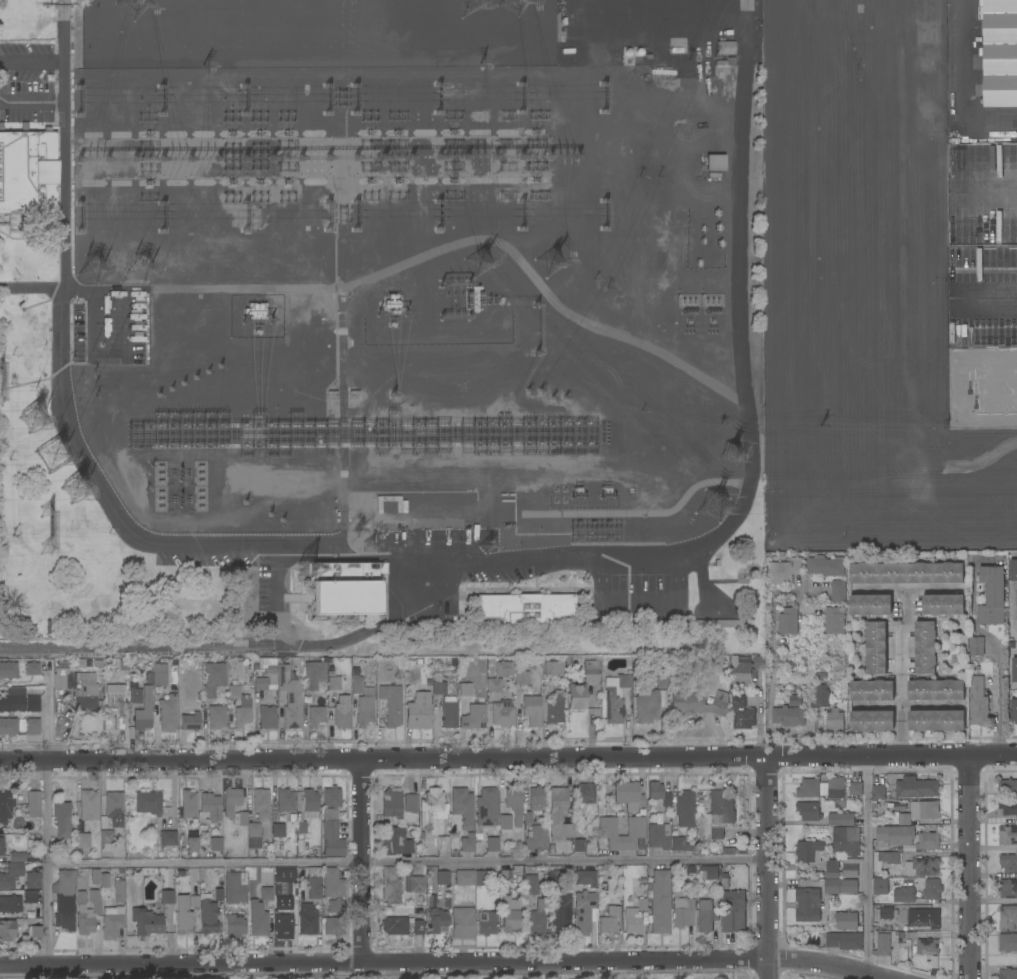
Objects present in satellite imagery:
road: (64, 1)
power tower: (132, 1)
power tower: (467, 1)
building: (850, 1)
building: (97, 17)
building: (269, 25)
building: (346, 29)
building: (521, 39)
building: (88, 41)
building: (846, 44)
building: (725, 47)
building: (1000, 53)
building: (723, 60)
building: (328, 62)
building: (873, 71)
building: (662, 72)
road: (64, 80)
building: (1000, 156)
building: (715, 163)
building: (27, 171)
road: (65, 224)
building: (1015, 230)
power tower: (479, 256)
power tower: (552, 260)
power tower: (94, 264)
power tower: (139, 264)
building: (474, 299)
building: (255, 311)
power substation: (377, 325)
power tower: (222, 365)
building: (1016, 369)
power tower: (209, 372)
power tower: (196, 379)
power tower: (183, 385)
power tower: (173, 391)
power tower: (159, 395)
power tower: (38, 425)
power tower: (730, 449)
power tower: (59, 457)
power tower: (152, 465)
power tower: (148, 489)
power tower: (79, 491)
power tower: (712, 502)
power tower: (246, 503)
power tower: (270, 511)
power tower: (358, 530)
power tower: (48, 532)
power tower: (372, 545)
power tower: (486, 546)
building: (825, 566)
building: (1013, 570)
building: (784, 571)
building: (910, 572)
building: (346, 588)
building: (838, 590)
building: (992, 596)
building: (942, 604)
building: (870, 605)
building: (525, 608)
road: (1013, 611)
building: (834, 620)
building: (788, 621)
building: (718, 623)
building: (976, 646)
building: (925, 647)
building: (875, 648)
road: (996, 653)
road: (771, 655)
building: (250, 659)
building: (86, 660)
building: (478, 660)
building: (331, 661)
building: (419, 661)
building: (454, 661)
building: (491, 661)
building: (97, 664)
building: (441, 664)
building: (123, 665)
building: (553, 666)
building: (247, 667)
building: (503, 668)
building: (32, 669)
building: (746, 669)
building: (1014, 669)
building: (8, 670)
building: (591, 671)
building: (331, 672)
building: (271, 673)
road: (899, 673)
building: (158, 674)
building: (313, 674)
building: (481, 674)
building: (131, 676)
building: (385, 677)
building: (521, 677)
building: (213, 678)
building: (249, 679)
building: (661, 681)
building: (334, 683)
building: (131, 684)
building: (260, 684)
building: (478, 685)
building: (494, 685)
building: (465, 687)
building: (442, 688)
building: (79, 689)
building: (871, 690)
building: (935, 690)
building: (481, 694)
building: (721, 695)
building: (135, 696)
building: (199, 696)
building: (290, 696)
building: (576, 696)
building: (821, 696)
building: (615, 697)
building: (363, 700)
building: (978, 702)
building: (12, 703)
building: (33, 703)
building: (391, 704)
building: (696, 704)
building: (115, 705)
building: (648, 705)
building: (239, 707)
building: (531, 710)
building: (554, 710)
building: (1013, 710)
building: (144, 711)
building: (418, 711)
building: (167, 712)
building: (449, 712)
building: (502, 713)
building: (741, 714)
building: (316, 716)
building: (342, 716)
building: (788, 716)
building: (216, 717)
building: (473, 717)
building: (265, 718)
road: (47, 720)
building: (834, 720)
building: (872, 721)
building: (935, 721)
building: (190, 722)
building: (9, 726)
building: (32, 726)
building: (22, 728)
road: (508, 761)
building: (1007, 787)
building: (916, 788)
building: (808, 789)
building: (856, 789)
building: (823, 790)
building: (836, 791)
building: (877, 794)
building: (583, 795)
building: (628, 795)
building: (658, 795)
building: (537, 798)
building: (285, 800)
building: (310, 800)
building: (391, 802)
building: (514, 802)
building: (699, 802)
building: (148, 803)
building: (410, 803)
building: (33, 804)
building: (188, 804)
building: (89, 805)
building: (210, 806)
building: (462, 806)
building: (5, 807)
building: (486, 807)
building: (1008, 807)
building: (114, 808)
building: (432, 808)
building: (685, 808)
building: (899, 808)
building: (262, 810)
building: (926, 810)
building: (809, 811)
building: (239, 812)
building: (559, 814)
building: (717, 816)
building: (528, 818)
building: (62, 819)
building: (841, 819)
building: (904, 819)
building: (505, 822)
building: (103, 823)
building: (332, 823)
building: (636, 827)
building: (302, 829)
building: (278, 830)
building: (659, 834)
building: (478, 835)
building: (896, 835)
building: (1007, 836)
building: (106, 837)
building: (167, 837)
building: (535, 838)
building: (83, 840)
building: (846, 841)
building: (927, 841)
building: (396, 842)
building: (442, 842)
building: (467, 843)
building: (6, 844)
building: (192, 844)
building: (216, 844)
building: (492, 844)
building: (579, 845)
building: (681, 846)
building: (809, 851)
building: (202, 855)
building: (17, 857)
building: (32, 857)
building: (889, 857)
road: (565, 859)
road: (205, 861)
road: (364, 862)
building: (1008, 863)
road: (46, 865)
road: (867, 867)
building: (922, 867)
building: (850, 868)
road: (765, 869)
building: (832, 869)
road: (970, 869)
building: (130, 872)
building: (180, 872)
building: (708, 872)
building: (11, 874)
building: (285, 874)
building: (506, 876)
building: (464, 877)
building: (99, 878)
building: (442, 878)
building: (481, 878)
building: (584, 878)
building: (32, 879)
building: (555, 880)
building: (65, 882)
building: (333, 882)
building: (313, 883)
building: (392, 883)
building: (415, 884)
building: (531, 885)
building: (723, 885)
building: (840, 886)
building: (880, 886)
building: (235, 888)
building: (932, 889)
building: (1008, 889)
building: (118, 890)
building: (280, 890)
building: (218, 893)
building: (904, 895)
building: (267, 896)
building: (29, 897)
building: (81, 897)
building: (167, 897)
building: (421, 899)
building: (431, 900)
building: (66, 901)
building: (194, 901)
building: (292, 901)
building: (446, 902)
building: (659, 902)
building: (10, 904)
building: (642, 904)
building: (807, 905)
building: (335, 906)
building: (583, 911)
building: (733, 911)
building: (88, 913)
building: (561, 913)
building: (682, 913)
building: (886, 913)
building: (208, 914)
building: (706, 915)
building: (183, 916)
building: (510, 917)
building: (538, 917)
building: (1007, 918)
building: (258, 919)
building: (307, 919)
building: (927, 919)
building: (64, 920)
building: (609, 920)
building: (282, 921)
building: (437, 921)
building: (846, 921)
building: (112, 922)
building: (146, 922)
building: (462, 923)
building: (486, 923)
building: (632, 924)
building: (395, 925)
building: (235, 926)
building: (333, 926)
building: (418, 927)
building: (7, 930)
building: (35, 932)
building: (844, 941)
building: (1007, 943)
building: (882, 945)
building: (926, 947)
road: (442, 962)
building: (1008, 974)

